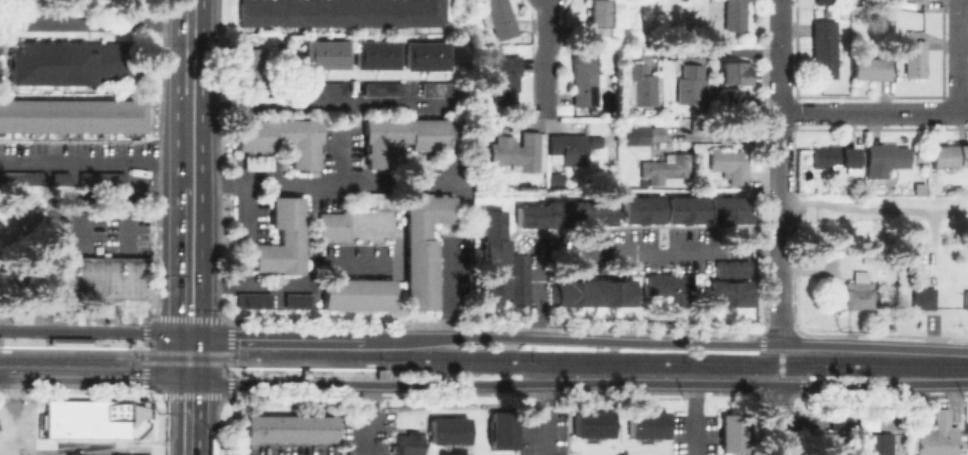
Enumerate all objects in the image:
building: (920, 1)
building: (825, 2)
building: (342, 12)
road: (547, 13)
building: (735, 15)
building: (598, 16)
building: (500, 18)
road: (94, 23)
road: (189, 46)
building: (824, 49)
road: (726, 52)
building: (325, 54)
building: (376, 54)
building: (426, 55)
road: (961, 56)
building: (913, 58)
building: (72, 63)
building: (252, 66)
building: (870, 68)
road: (547, 71)
building: (737, 75)
building: (505, 79)
building: (586, 79)
building: (691, 86)
building: (644, 87)
building: (329, 88)
building: (383, 88)
building: (437, 88)
road: (319, 106)
building: (733, 111)
road: (875, 113)
building: (72, 115)
building: (635, 132)
building: (282, 137)
building: (408, 138)
road: (188, 141)
building: (569, 148)
building: (950, 154)
building: (519, 155)
road: (340, 157)
building: (834, 157)
building: (886, 159)
building: (258, 162)
road: (94, 163)
building: (730, 164)
building: (664, 169)
road: (781, 172)
building: (20, 176)
building: (60, 176)
building: (102, 178)
road: (314, 185)
building: (918, 189)
road: (129, 198)
building: (377, 199)
road: (874, 205)
building: (731, 208)
building: (643, 209)
building: (687, 209)
road: (243, 212)
building: (569, 214)
building: (333, 225)
building: (283, 238)
building: (423, 245)
building: (493, 255)
road: (620, 255)
building: (869, 259)
road: (187, 261)
building: (105, 277)
building: (520, 277)
building: (734, 282)
road: (285, 283)
building: (672, 285)
road: (447, 290)
building: (357, 293)
building: (593, 295)
building: (859, 295)
building: (924, 298)
building: (254, 299)
building: (966, 299)
building: (299, 300)
road: (93, 331)
traffic signals: (187, 333)
road: (274, 334)
railway: (124, 343)
road: (135, 343)
road: (665, 343)
road: (187, 345)
railway: (69, 350)
railway: (186, 352)
railway: (601, 356)
railway: (69, 360)
railway: (185, 362)
railway: (309, 363)
road: (781, 365)
railway: (676, 367)
road: (186, 370)
road: (236, 372)
railway: (382, 376)
road: (4, 379)
road: (97, 380)
traffic signals: (186, 382)
road: (577, 383)
road: (228, 392)
road: (186, 418)
road: (364, 419)
road: (540, 419)
road: (691, 419)
road: (775, 420)
building: (594, 424)
building: (649, 424)
building: (292, 428)
building: (448, 430)
building: (500, 430)
building: (735, 433)
building: (966, 437)
building: (936, 441)
road: (97, 442)
building: (409, 443)
building: (825, 443)
building: (874, 444)
road: (167, 448)
road: (190, 453)
building: (457, 453)
building: (72, 454)
building: (128, 454)

